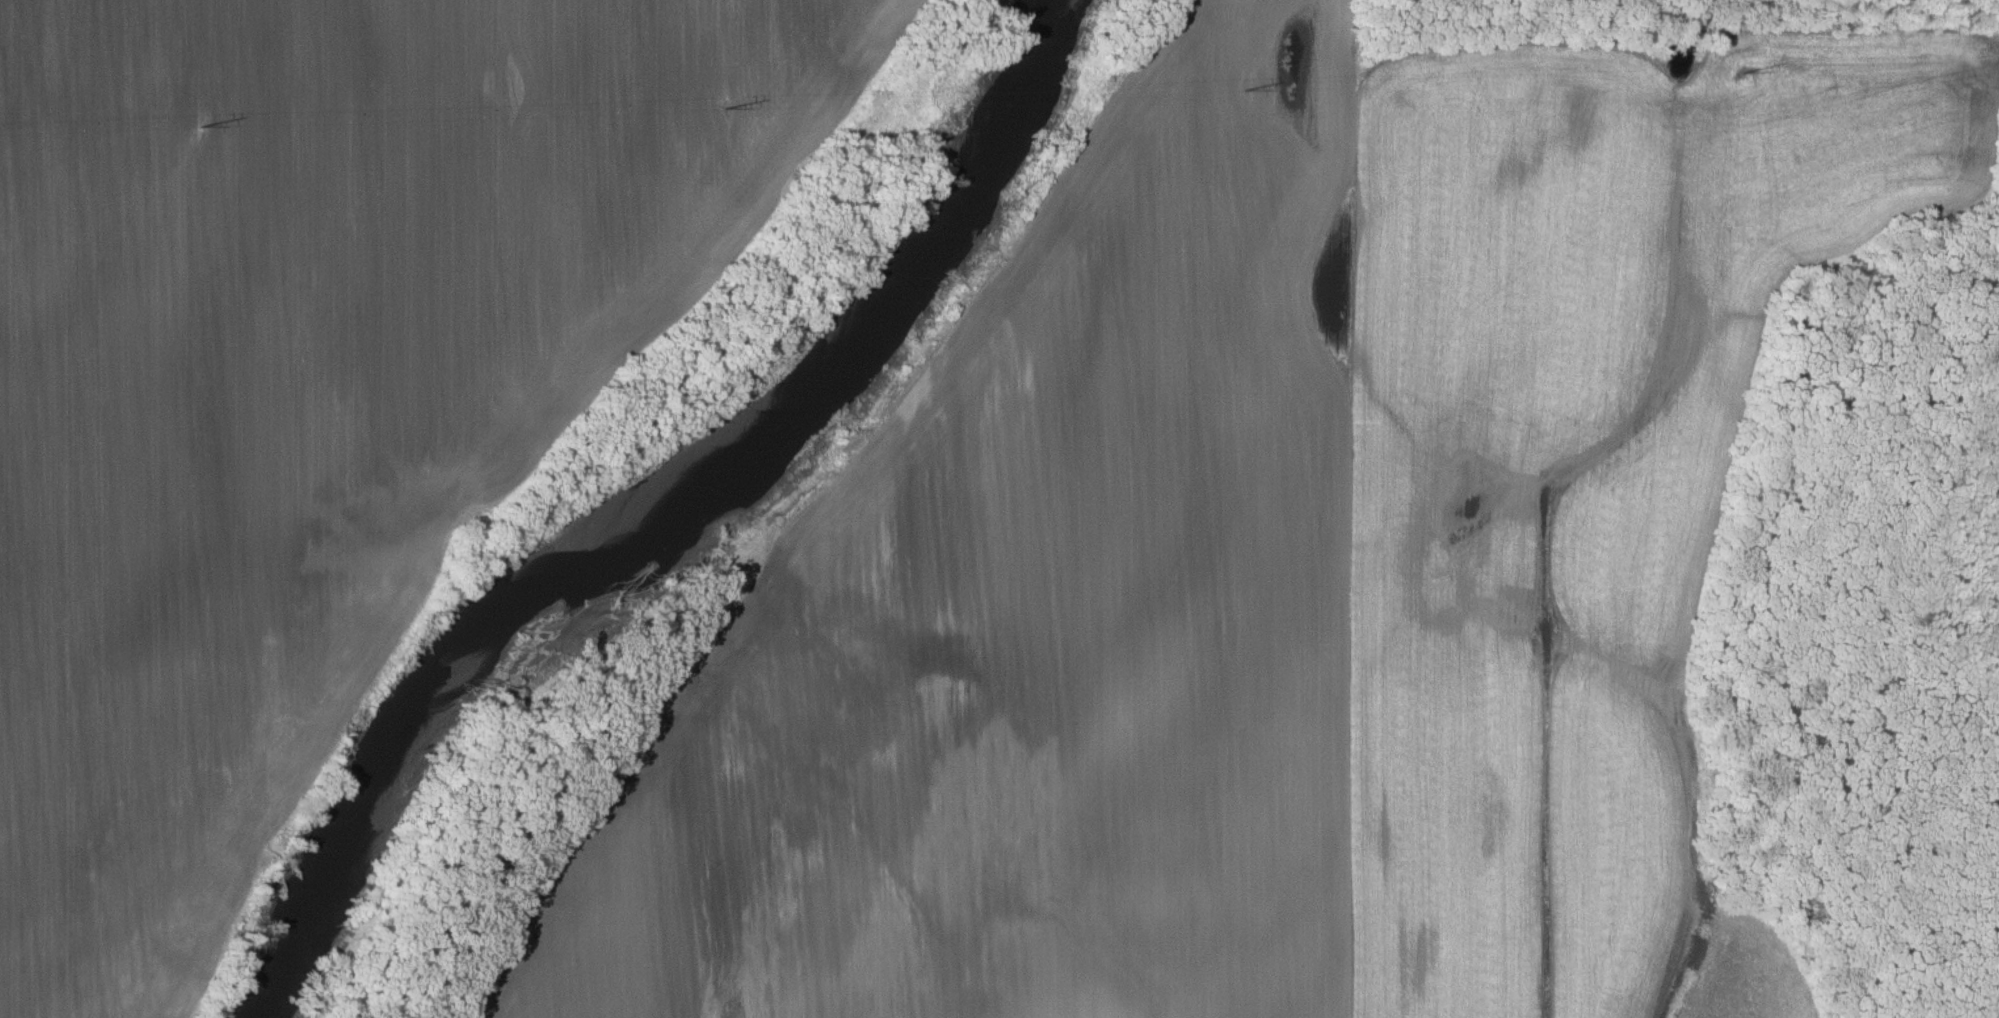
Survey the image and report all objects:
river: (640, 491)

